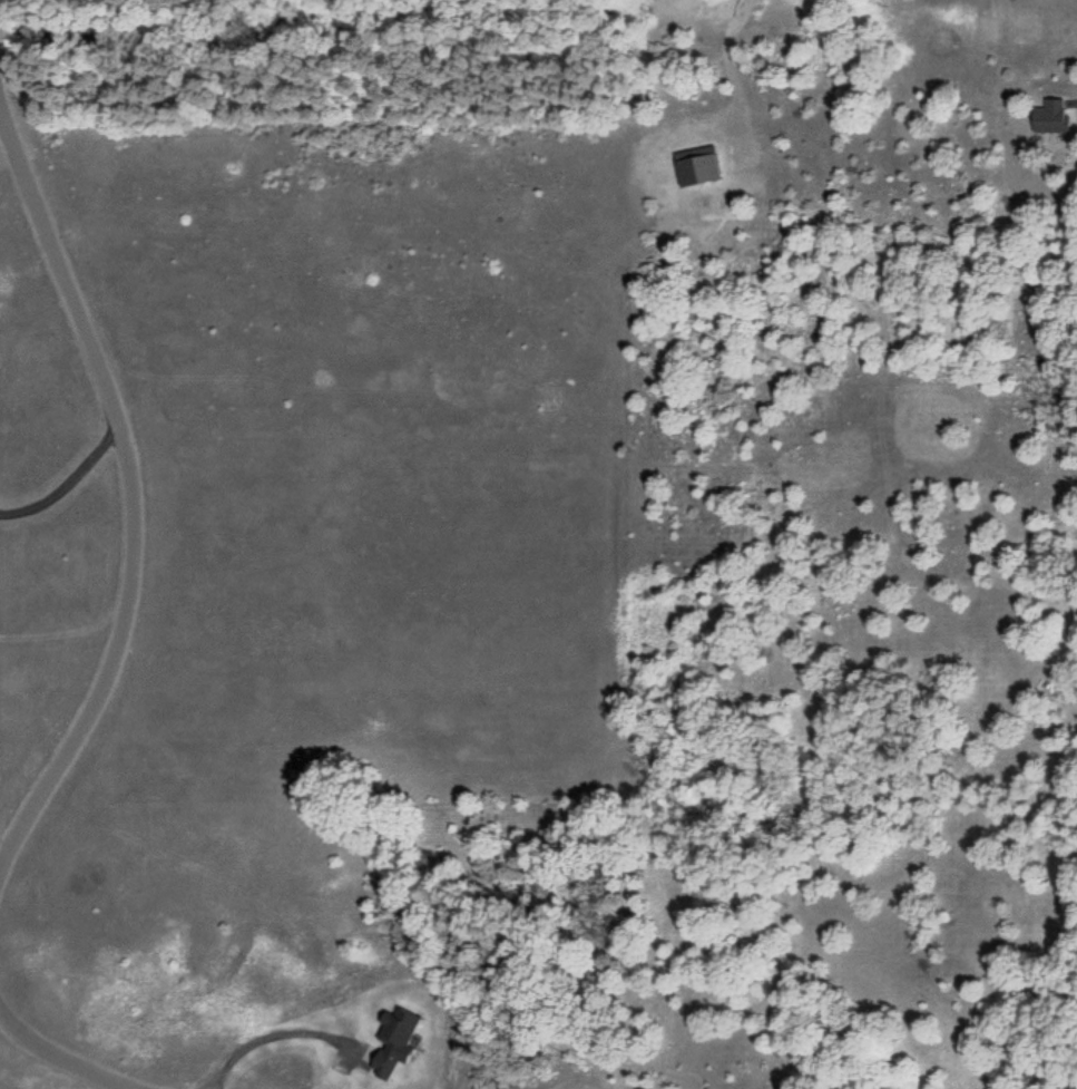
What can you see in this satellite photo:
road: (130, 495)
road: (272, 1032)
road: (58, 1059)

